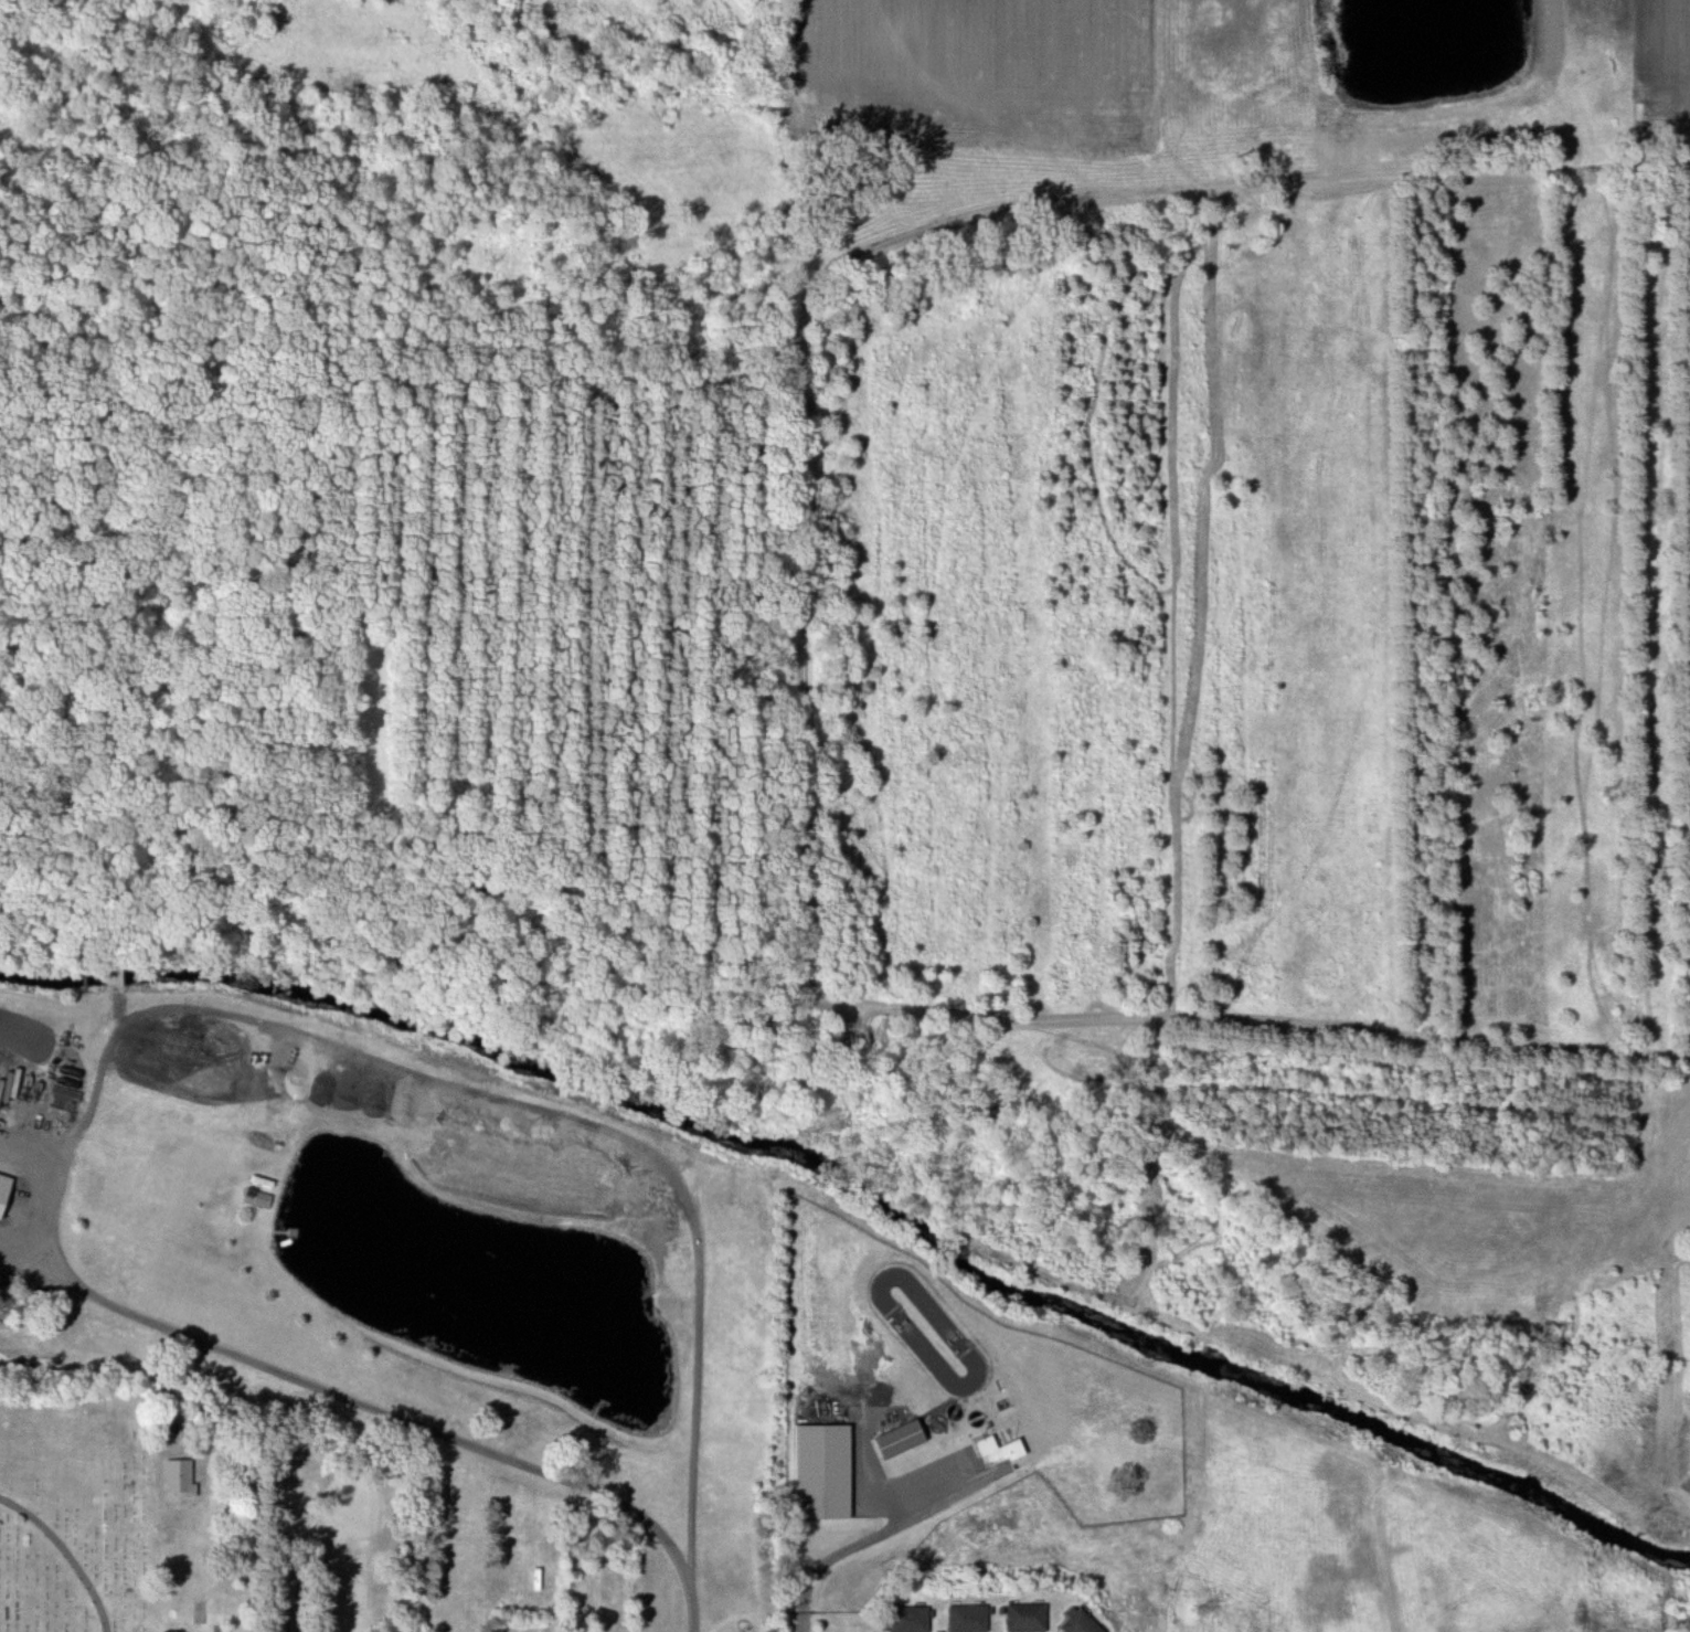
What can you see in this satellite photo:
building: (7, 1194)
building: (261, 1198)
road: (373, 1406)
building: (905, 1440)
park: (82, 1503)
road: (859, 1539)
building: (971, 1618)
building: (1030, 1618)
building: (913, 1619)
road: (801, 1623)
building: (1084, 1623)

